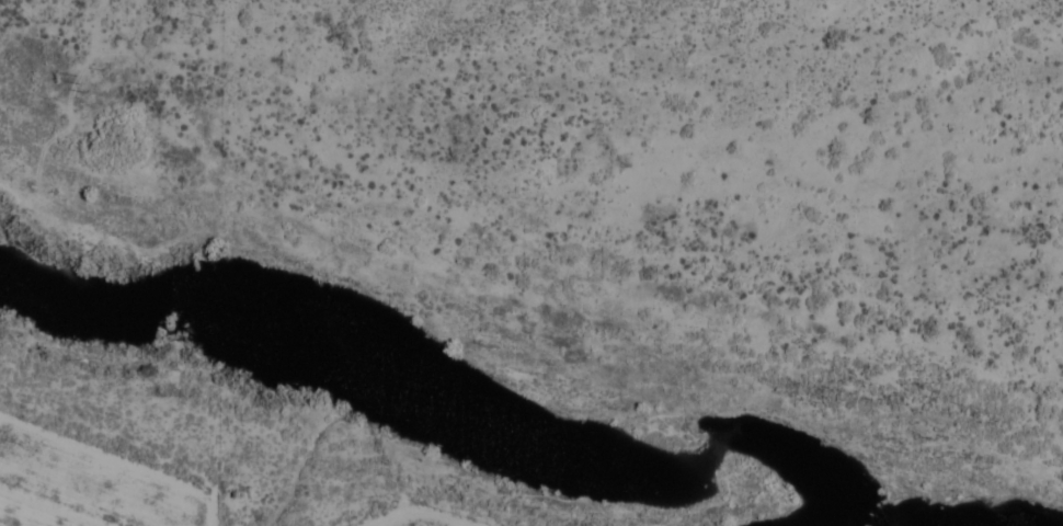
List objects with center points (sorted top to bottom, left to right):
river: (443, 395)

